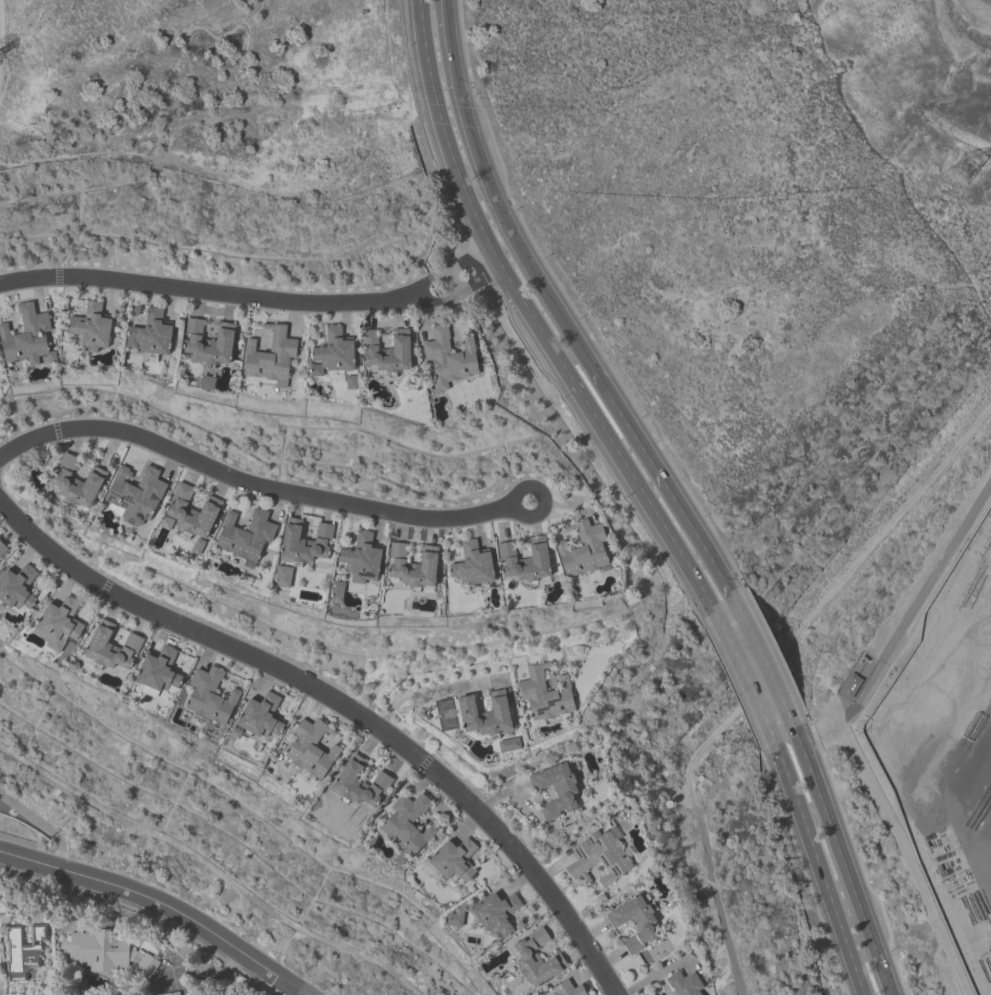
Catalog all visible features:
power tower: (966, 165)
road: (479, 266)
road: (234, 295)
building: (90, 327)
building: (151, 334)
building: (27, 337)
building: (209, 342)
building: (386, 351)
building: (332, 353)
building: (270, 356)
building: (448, 358)
building: (351, 382)
building: (207, 383)
building: (77, 482)
road: (258, 487)
road: (642, 493)
road: (668, 493)
building: (136, 494)
building: (192, 511)
building: (165, 523)
building: (246, 536)
building: (304, 541)
building: (198, 547)
building: (2, 548)
building: (582, 549)
building: (361, 559)
building: (525, 561)
building: (472, 565)
building: (413, 566)
building: (282, 577)
building: (17, 588)
road: (903, 623)
building: (58, 624)
building: (111, 647)
building: (157, 672)
road: (435, 673)
road: (410, 693)
building: (545, 694)
building: (210, 697)
road: (342, 706)
building: (486, 715)
building: (260, 716)
building: (235, 733)
building: (509, 745)
building: (311, 748)
building: (360, 783)
building: (555, 790)
building: (407, 824)
road: (42, 825)
building: (598, 858)
building: (398, 860)
building: (454, 861)
road: (154, 910)
building: (495, 913)
building: (454, 918)
building: (634, 924)
building: (98, 950)
building: (23, 951)
building: (536, 960)
building: (145, 966)
building: (683, 983)
building: (567, 989)
building: (173, 993)

